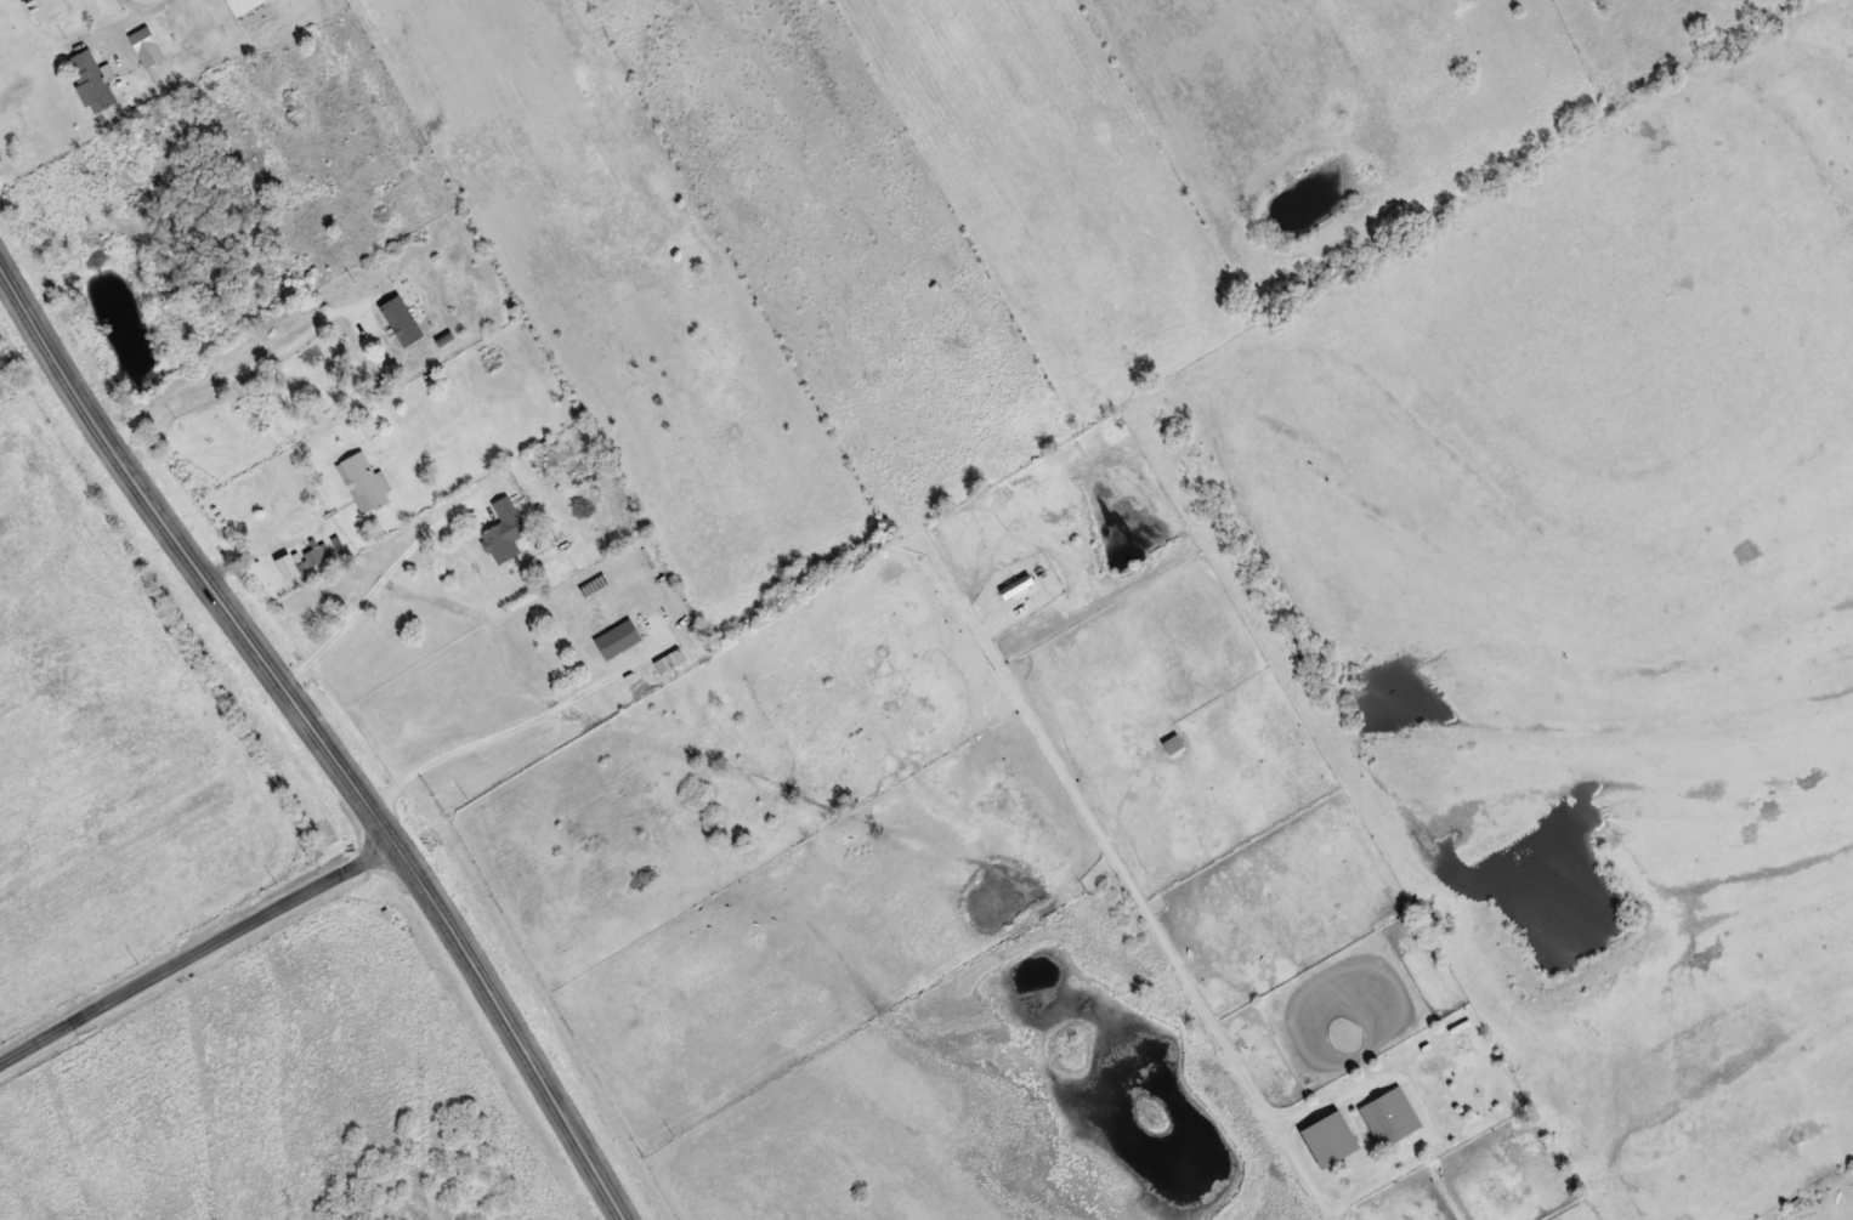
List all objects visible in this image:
building: (243, 5)
building: (45, 8)
building: (147, 46)
building: (91, 80)
building: (402, 320)
building: (545, 459)
building: (363, 482)
building: (505, 532)
building: (311, 556)
building: (618, 639)
building: (669, 659)
road: (325, 733)
road: (202, 953)
building: (1390, 1116)

